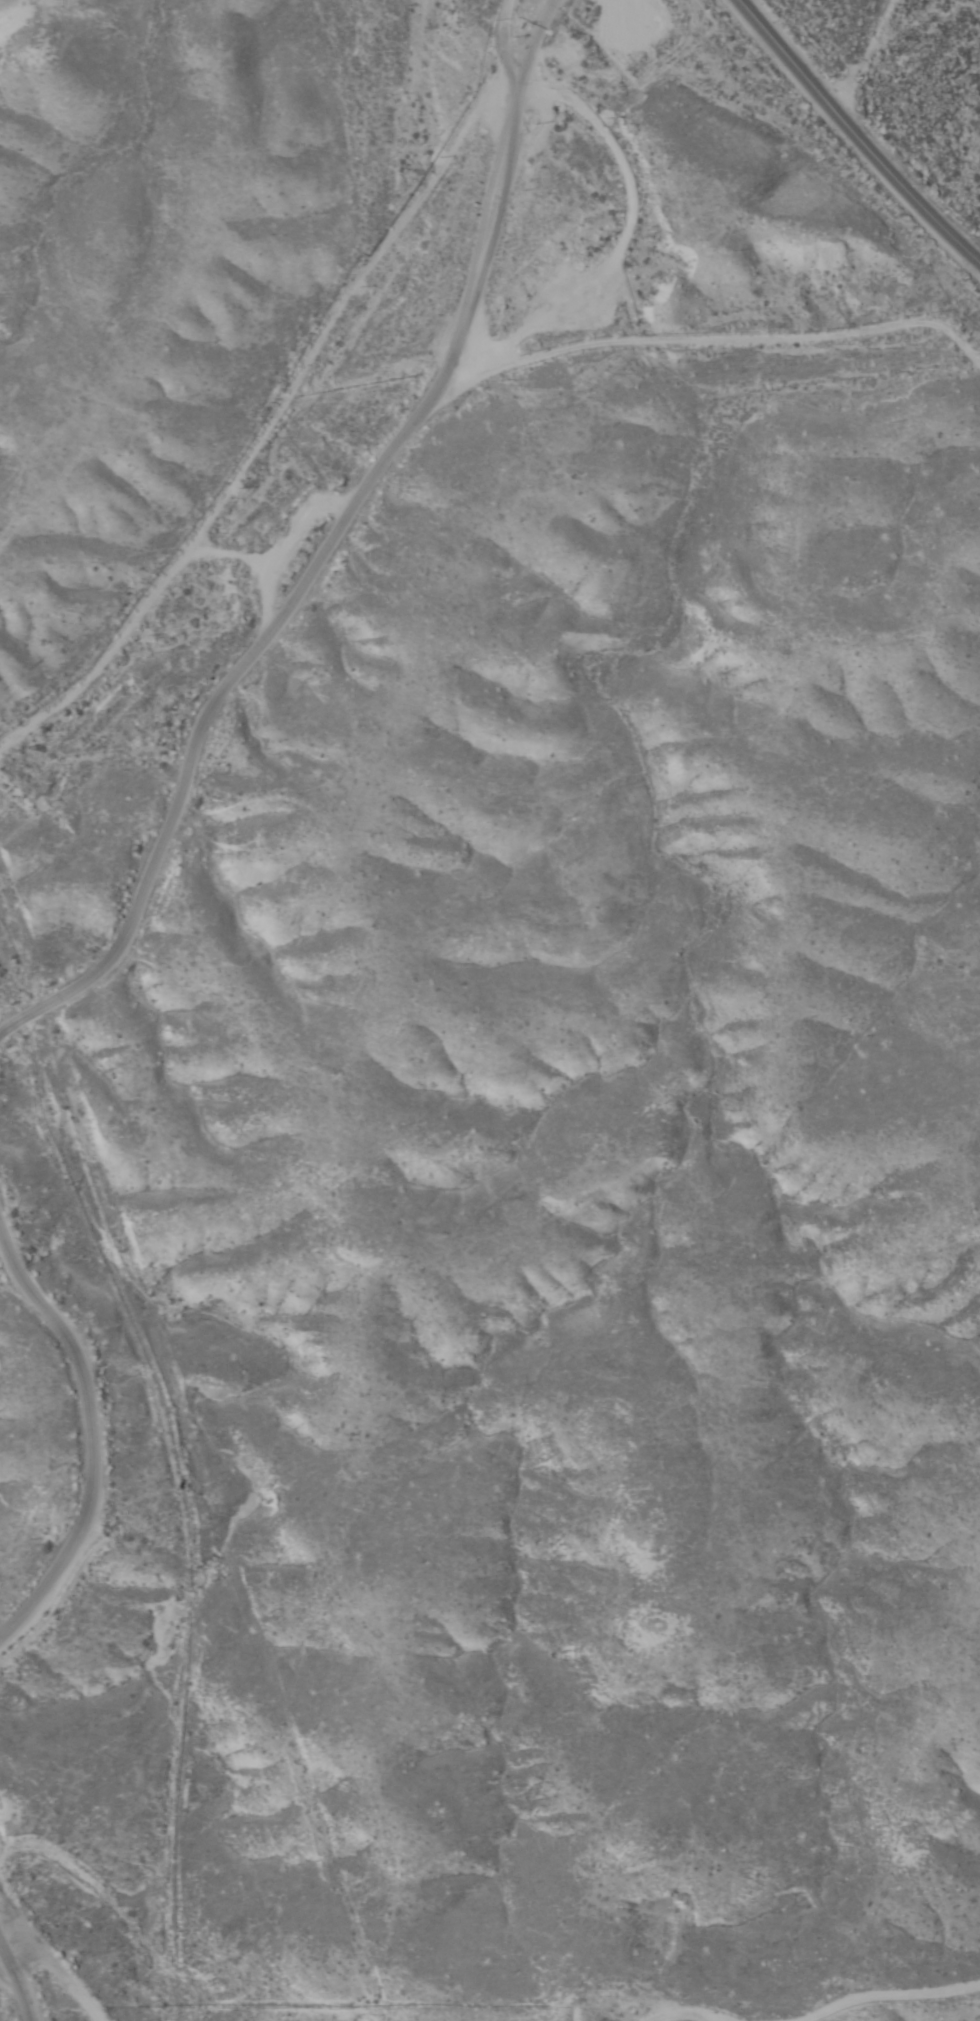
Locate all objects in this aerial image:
road: (500, 41)
road: (876, 60)
road: (853, 130)
road: (266, 419)
road: (322, 550)
road: (95, 1438)
road: (52, 1971)
road: (17, 1984)

